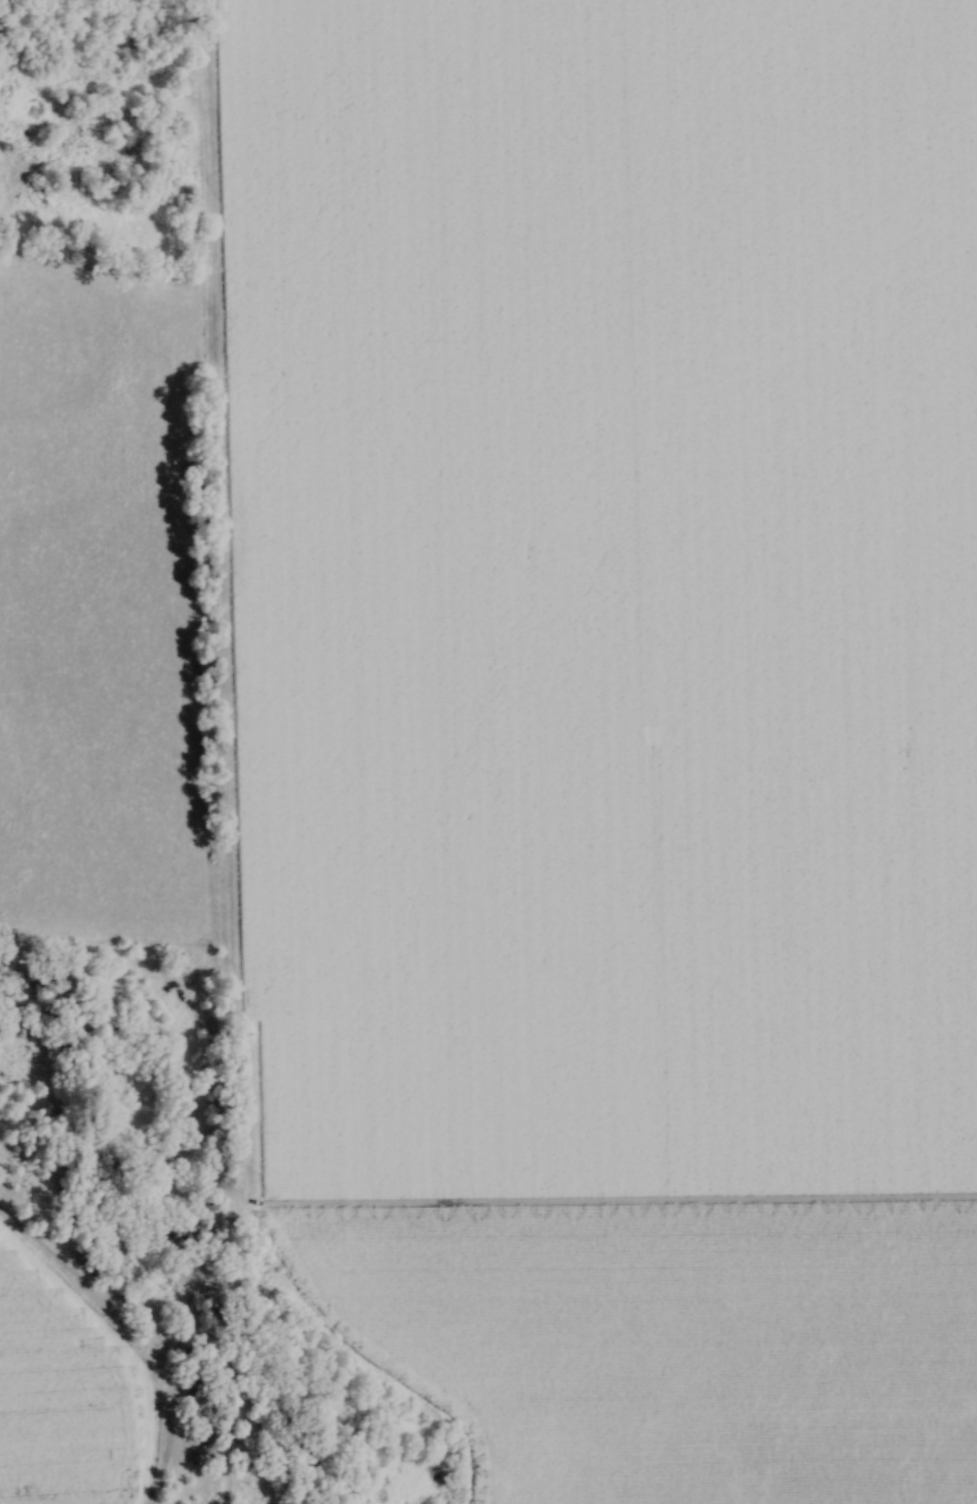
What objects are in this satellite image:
river: (188, 1234)

